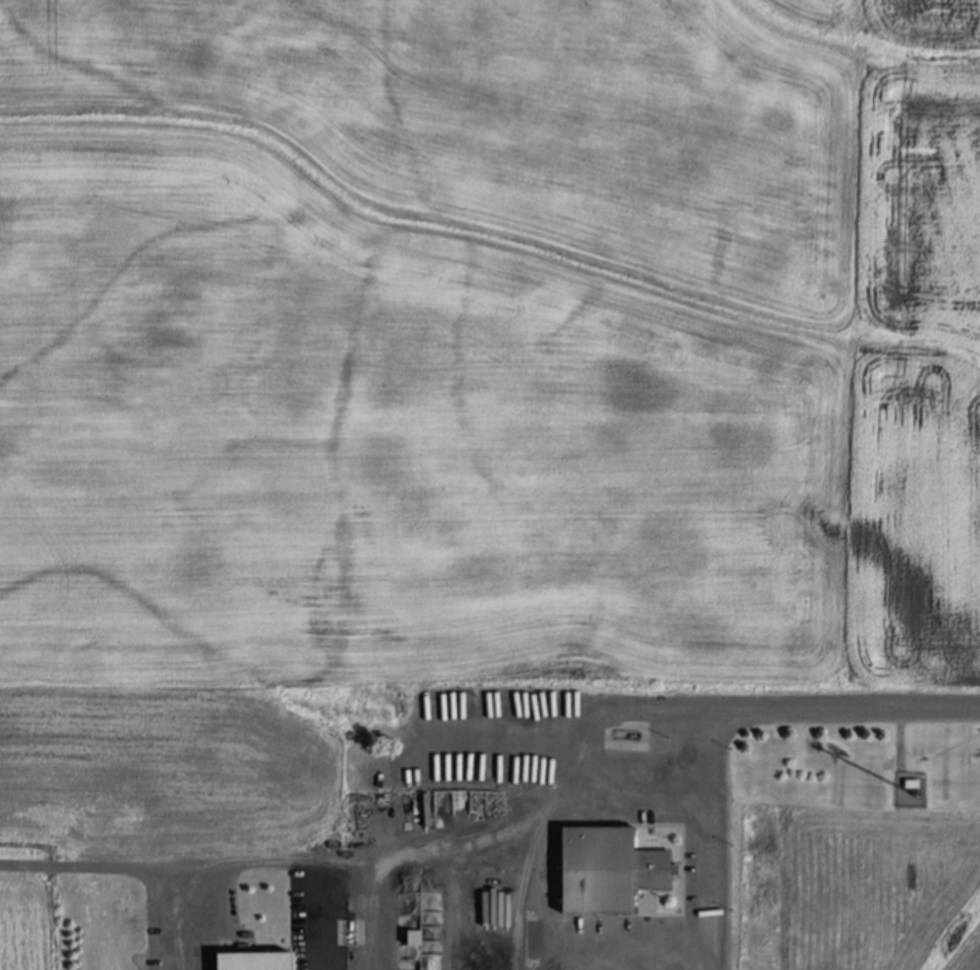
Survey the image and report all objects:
building: (912, 786)
road: (498, 819)
building: (608, 876)
road: (321, 914)
road: (166, 919)

